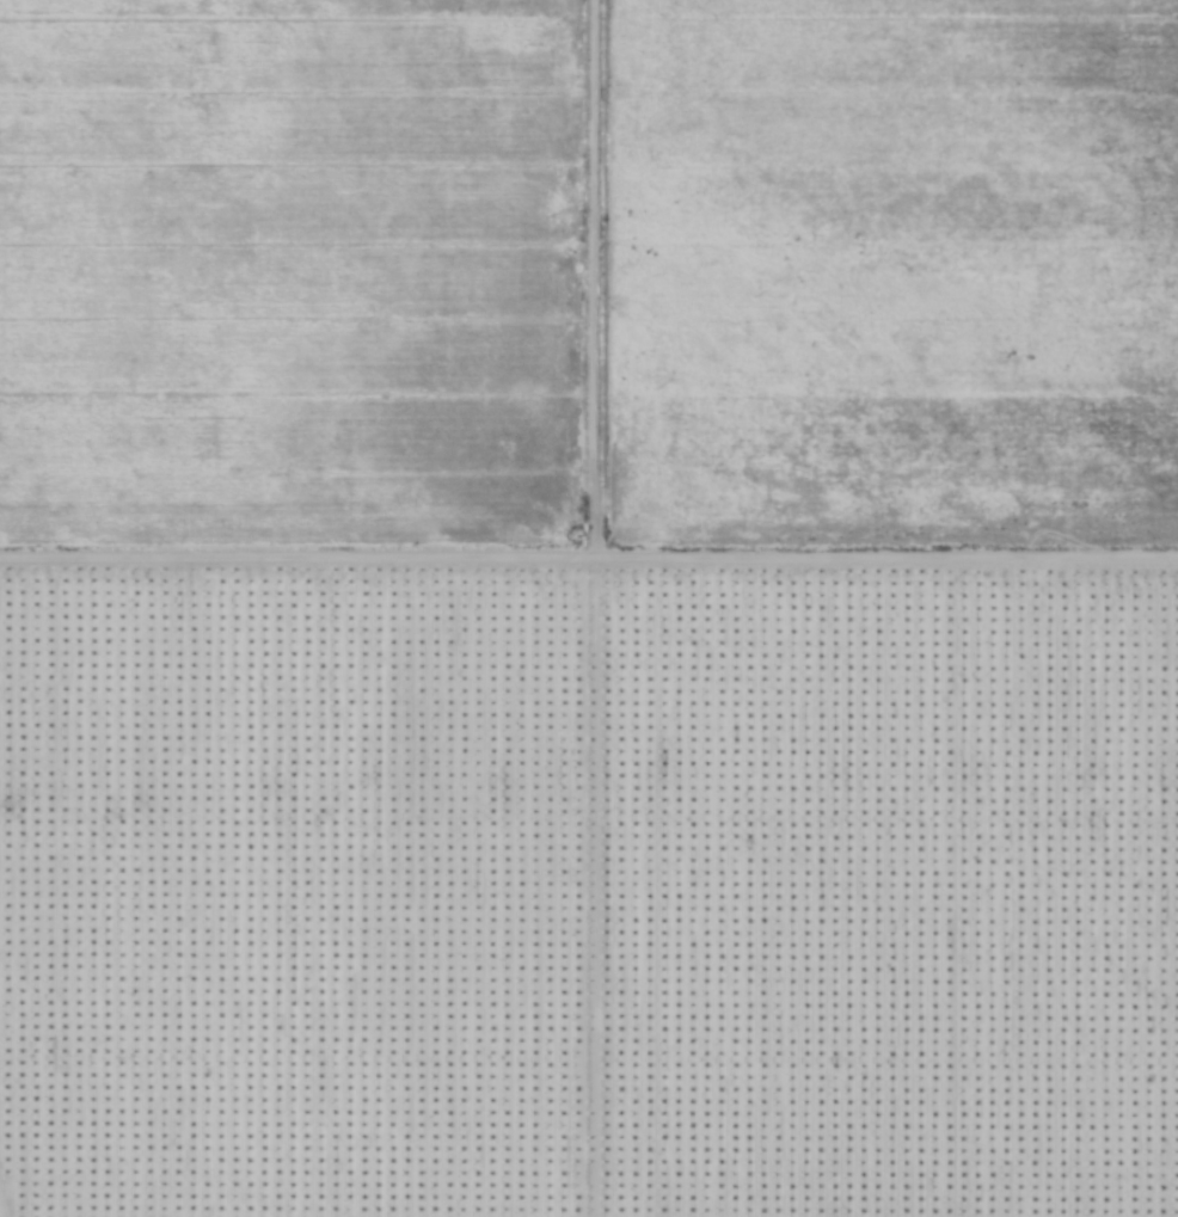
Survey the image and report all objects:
crop: (290, 276)
crop: (889, 277)
road: (589, 561)

